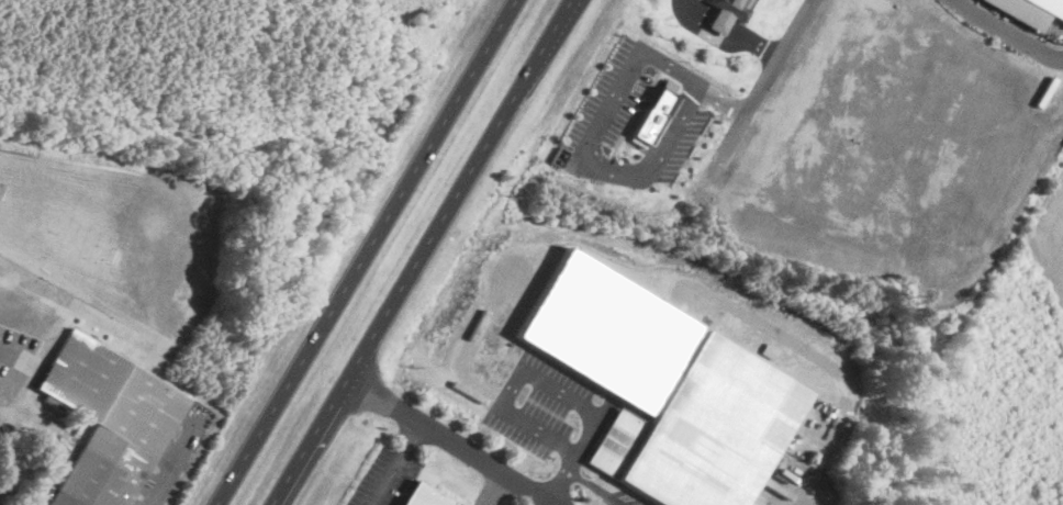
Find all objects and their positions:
building: (1049, 7)
building: (728, 12)
road: (799, 31)
road: (1004, 38)
road: (781, 61)
road: (695, 81)
building: (652, 114)
road: (594, 171)
crop: (1053, 234)
road: (366, 251)
road: (424, 251)
road: (13, 356)
road: (538, 377)
building: (108, 419)
building: (701, 429)
road: (411, 436)
road: (454, 441)
road: (170, 458)
road: (387, 478)
road: (595, 484)
building: (421, 494)
road: (799, 502)

